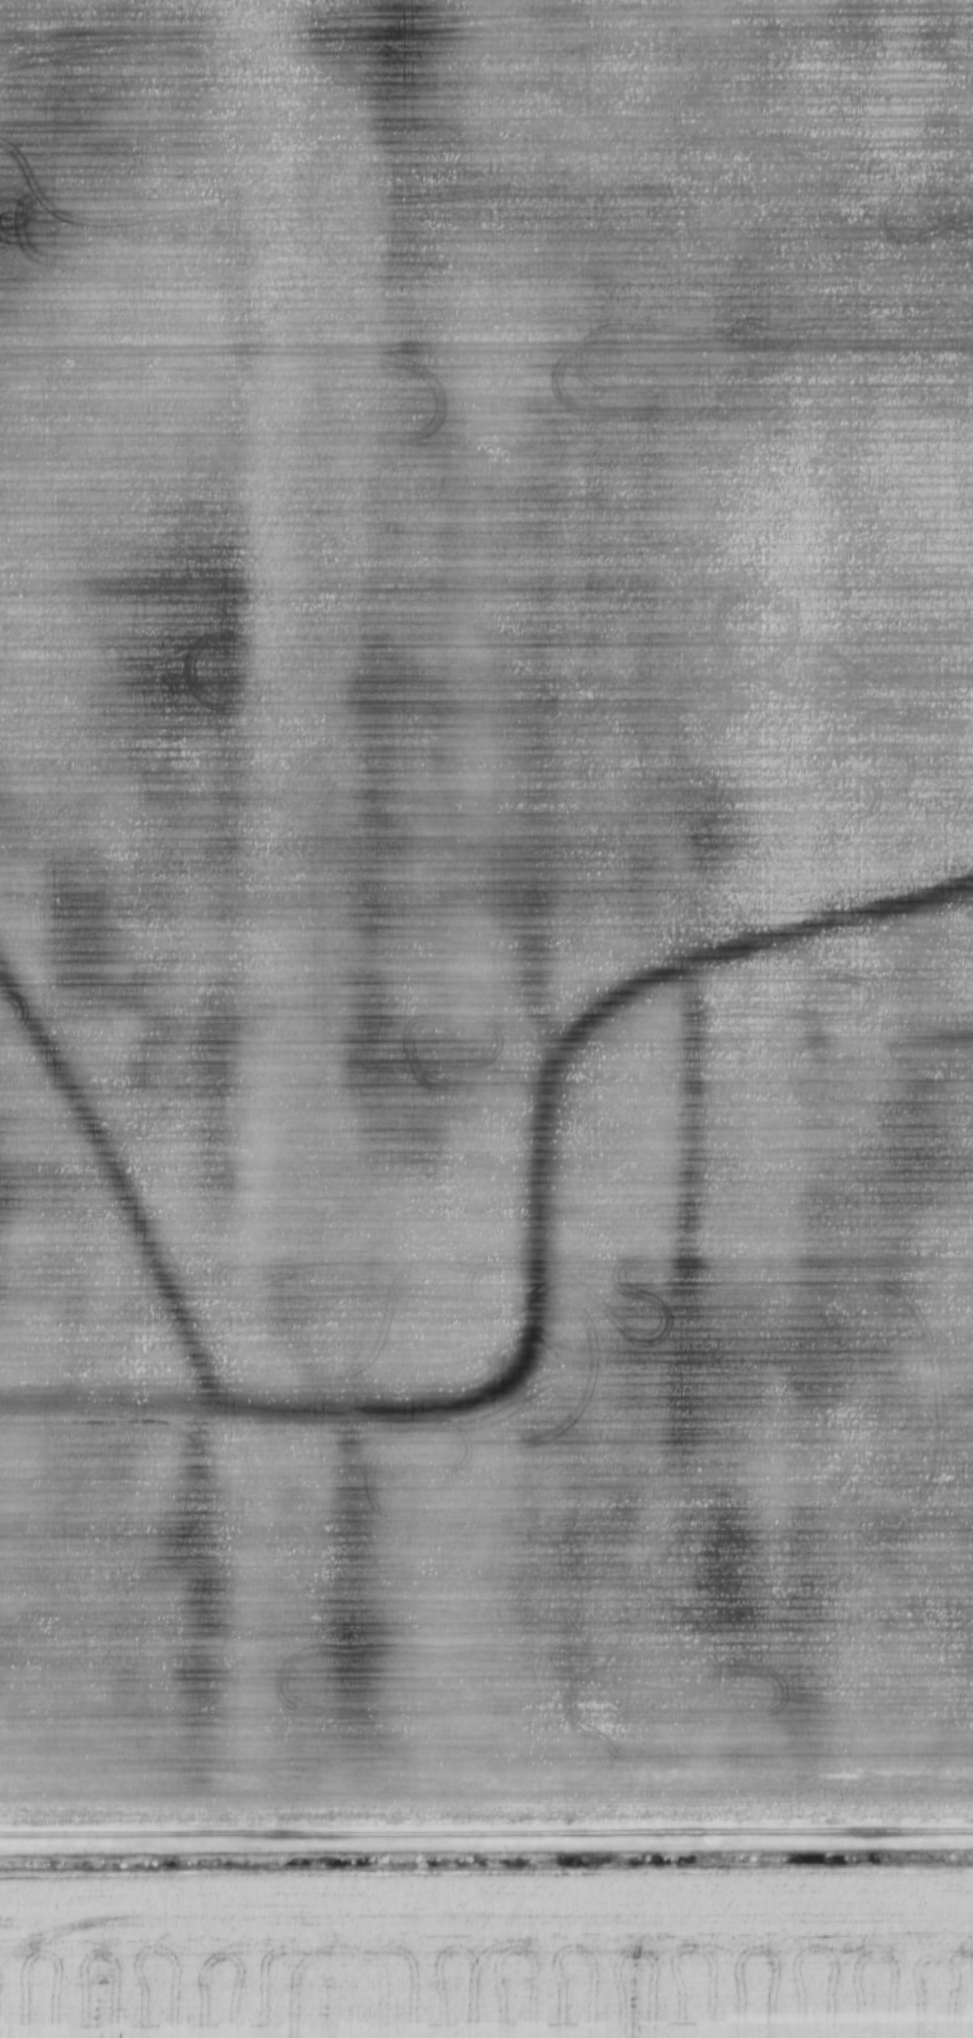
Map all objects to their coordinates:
crop: (486, 909)
road: (486, 1834)
crop: (491, 1957)

